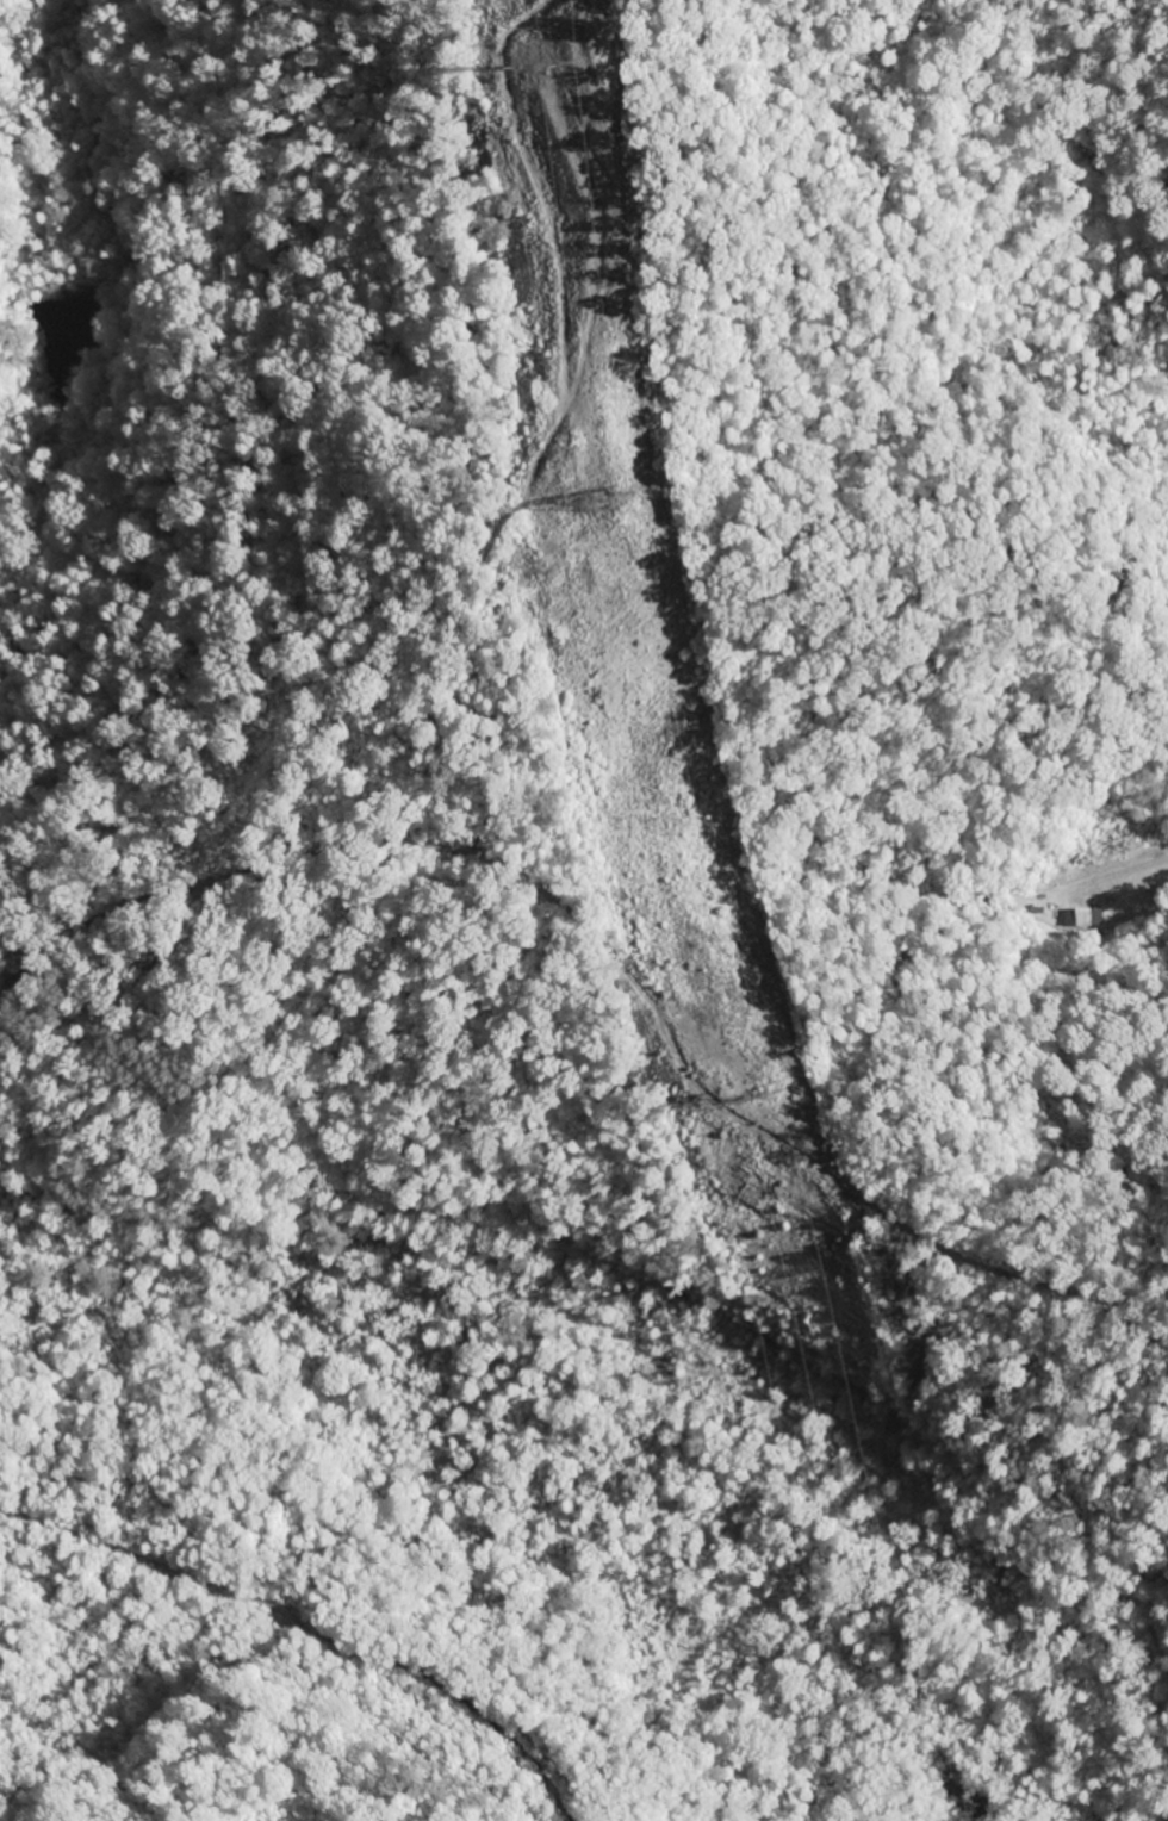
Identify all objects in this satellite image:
power tower: (551, 80)
power tower: (752, 1158)
road: (595, 1490)

